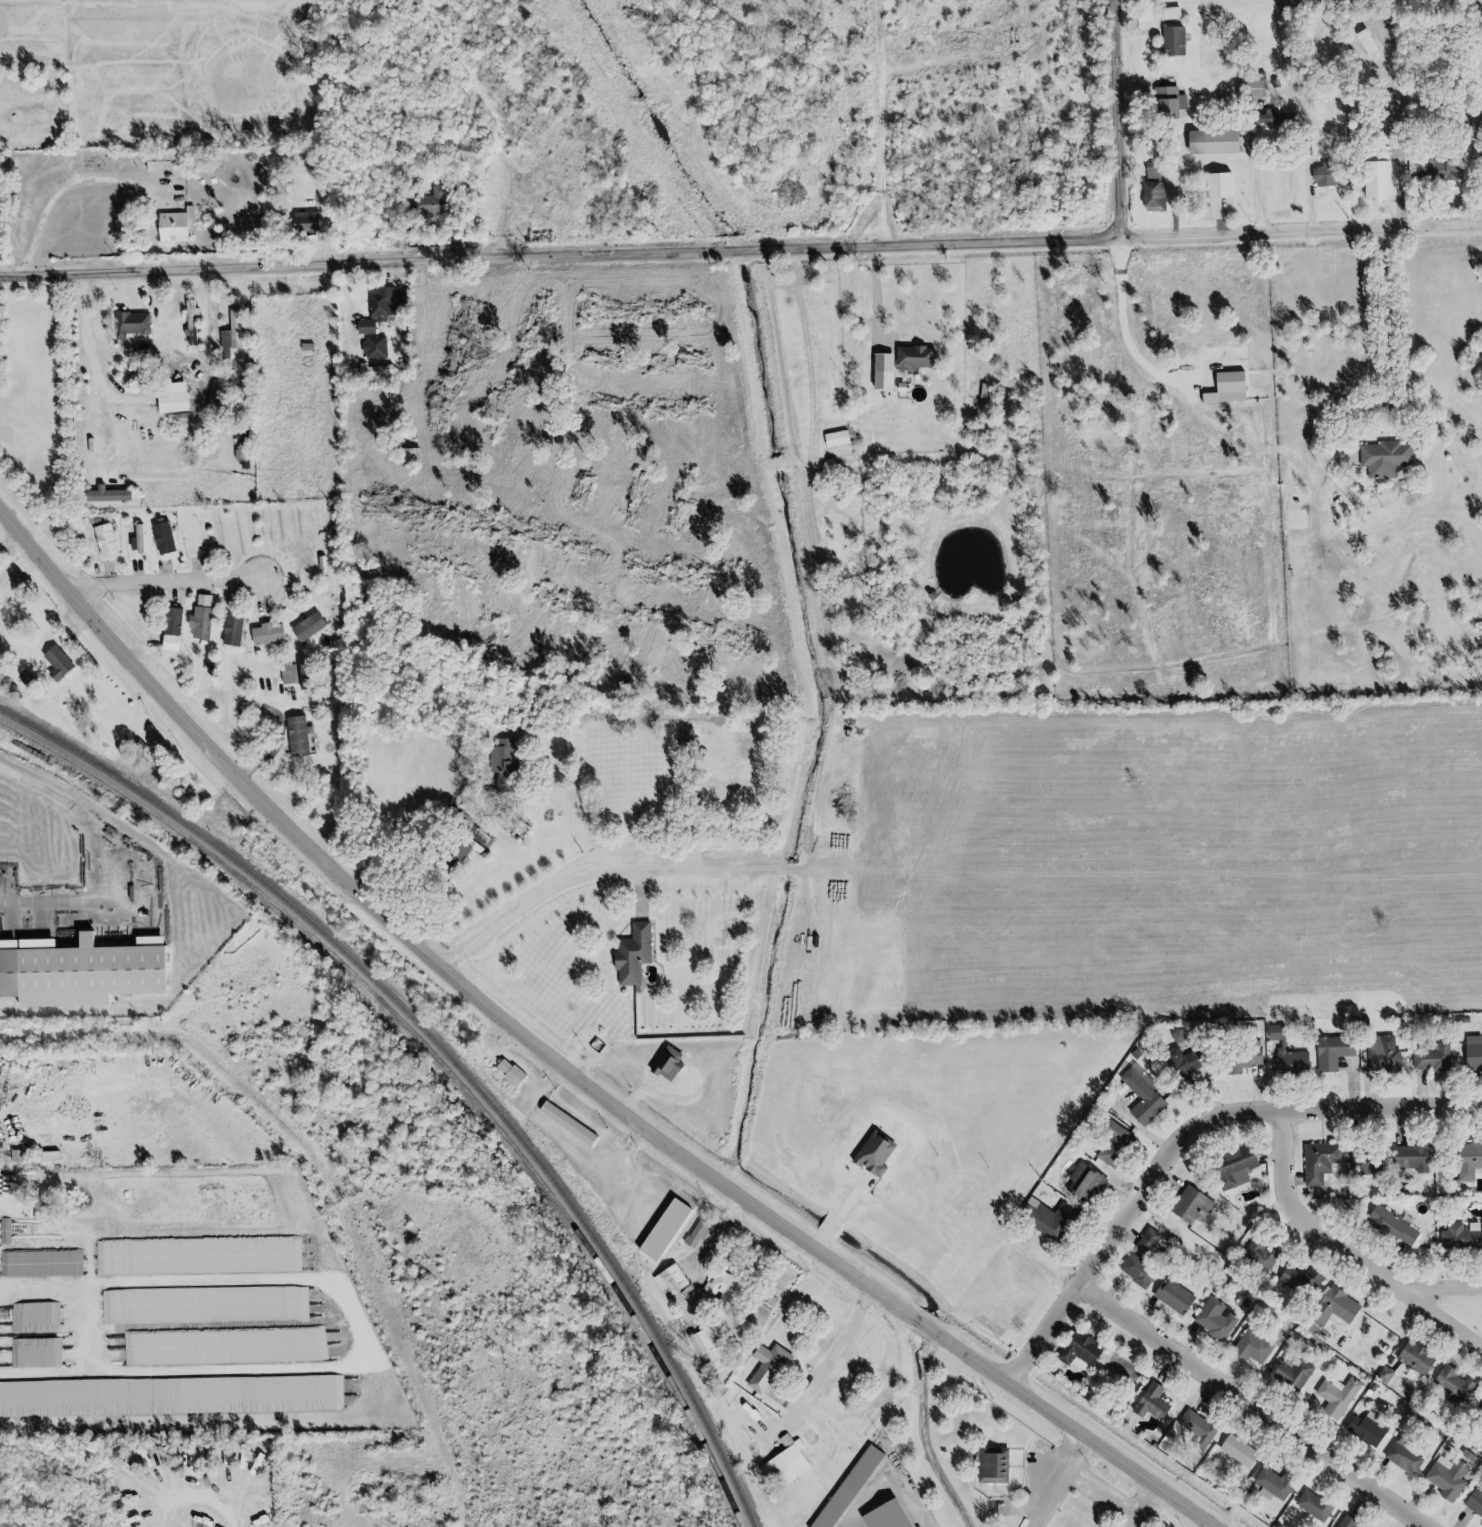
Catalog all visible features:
building: (1173, 42)
building: (1366, 43)
building: (1256, 81)
building: (1167, 103)
road: (1112, 119)
building: (1391, 120)
road: (489, 121)
building: (1475, 122)
building: (1209, 140)
building: (158, 160)
building: (1430, 170)
building: (1323, 177)
building: (1216, 185)
building: (1374, 186)
road: (59, 189)
building: (1149, 197)
building: (426, 204)
building: (301, 220)
building: (171, 227)
road: (740, 250)
road: (145, 290)
building: (378, 306)
building: (169, 315)
building: (127, 322)
building: (361, 329)
road: (1381, 329)
building: (231, 334)
building: (380, 347)
building: (911, 357)
road: (85, 361)
road: (200, 368)
building: (879, 370)
building: (371, 371)
building: (168, 402)
building: (832, 439)
building: (244, 449)
building: (1380, 457)
building: (68, 526)
building: (841, 533)
building: (222, 536)
road: (177, 538)
building: (164, 539)
building: (101, 540)
road: (88, 546)
road: (179, 558)
road: (189, 571)
road: (159, 575)
road: (93, 576)
road: (154, 585)
road: (167, 593)
road: (199, 594)
road: (256, 598)
road: (275, 602)
building: (173, 622)
building: (201, 624)
building: (308, 629)
building: (233, 631)
road: (67, 634)
building: (268, 636)
building: (52, 665)
building: (288, 675)
building: (297, 737)
building: (497, 762)
building: (728, 787)
road: (682, 825)
road: (418, 831)
building: (518, 831)
road: (553, 886)
road: (633, 896)
building: (142, 924)
building: (169, 953)
building: (628, 955)
building: (8, 973)
road: (77, 1005)
building: (1270, 1031)
building: (1327, 1050)
railway: (447, 1053)
building: (1470, 1053)
building: (1379, 1055)
building: (1247, 1058)
building: (1426, 1059)
building: (1285, 1061)
building: (1175, 1062)
road: (564, 1073)
building: (505, 1076)
road: (1344, 1082)
road: (1360, 1082)
road: (1414, 1089)
road: (1203, 1094)
building: (1138, 1097)
building: (829, 1117)
building: (561, 1124)
road: (1131, 1125)
road: (1393, 1127)
road: (1314, 1128)
building: (571, 1131)
road: (1185, 1139)
road: (562, 1141)
building: (1112, 1142)
road: (1264, 1155)
building: (1405, 1155)
building: (1465, 1157)
building: (1311, 1161)
building: (1228, 1163)
building: (1360, 1164)
road: (327, 1168)
road: (784, 1171)
building: (594, 1173)
road: (1168, 1177)
road: (1287, 1179)
building: (1079, 1182)
road: (625, 1189)
road: (1114, 1194)
road: (651, 1199)
building: (1187, 1205)
road: (632, 1222)
building: (1046, 1222)
building: (1388, 1224)
building: (661, 1227)
road: (1123, 1232)
building: (690, 1235)
building: (1456, 1236)
road: (1023, 1240)
building: (1139, 1241)
building: (1148, 1243)
road: (692, 1251)
building: (1251, 1255)
road: (1343, 1255)
road: (1041, 1266)
road: (1441, 1268)
building: (1134, 1269)
building: (666, 1280)
building: (1297, 1283)
road: (1107, 1286)
building: (717, 1287)
road: (1440, 1290)
building: (1170, 1297)
building: (1329, 1306)
road: (1354, 1311)
park: (1454, 1312)
road: (1140, 1313)
road: (1399, 1314)
road: (53, 1318)
building: (1211, 1320)
road: (1090, 1322)
road: (1197, 1335)
road: (1180, 1337)
building: (1248, 1347)
building: (703, 1348)
building: (1073, 1349)
building: (1410, 1357)
building: (764, 1365)
road: (820, 1365)
road: (1465, 1365)
road: (1218, 1366)
building: (1124, 1371)
building: (1287, 1376)
building: (1446, 1384)
building: (1332, 1396)
road: (774, 1401)
building: (1144, 1402)
road: (1246, 1406)
building: (1477, 1412)
building: (1189, 1423)
building: (1360, 1428)
building: (1476, 1432)
building: (1232, 1452)
building: (1397, 1457)
road: (1018, 1460)
building: (987, 1464)
building: (780, 1465)
road: (1369, 1470)
building: (1441, 1479)
road: (1056, 1483)
building: (1270, 1483)
building: (841, 1489)
road: (987, 1492)
road: (1410, 1495)
road: (1029, 1497)
road: (985, 1500)
road: (859, 1502)
road: (1114, 1505)
building: (1309, 1506)
building: (1472, 1506)
building: (883, 1516)
road: (1457, 1518)
road: (1396, 1520)
building: (1345, 1522)

